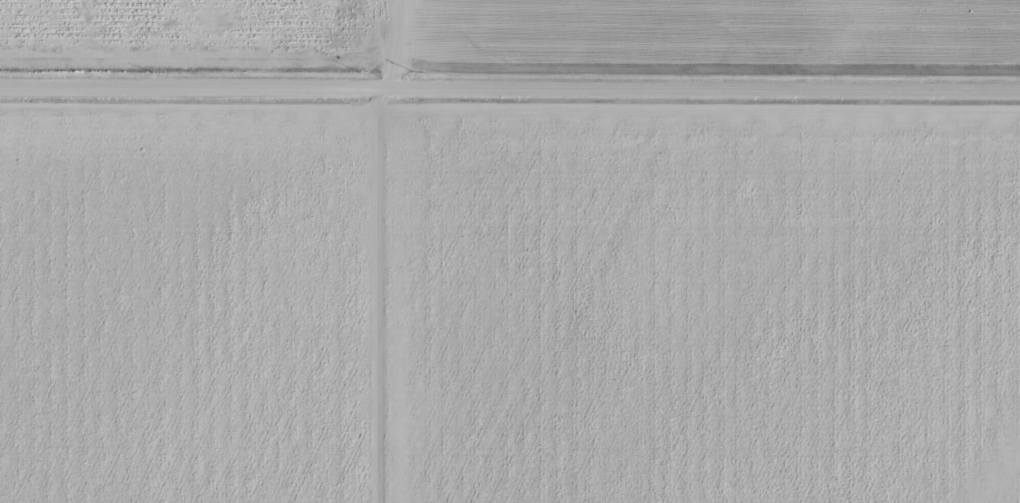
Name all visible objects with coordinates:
road: (509, 86)
road: (378, 294)

